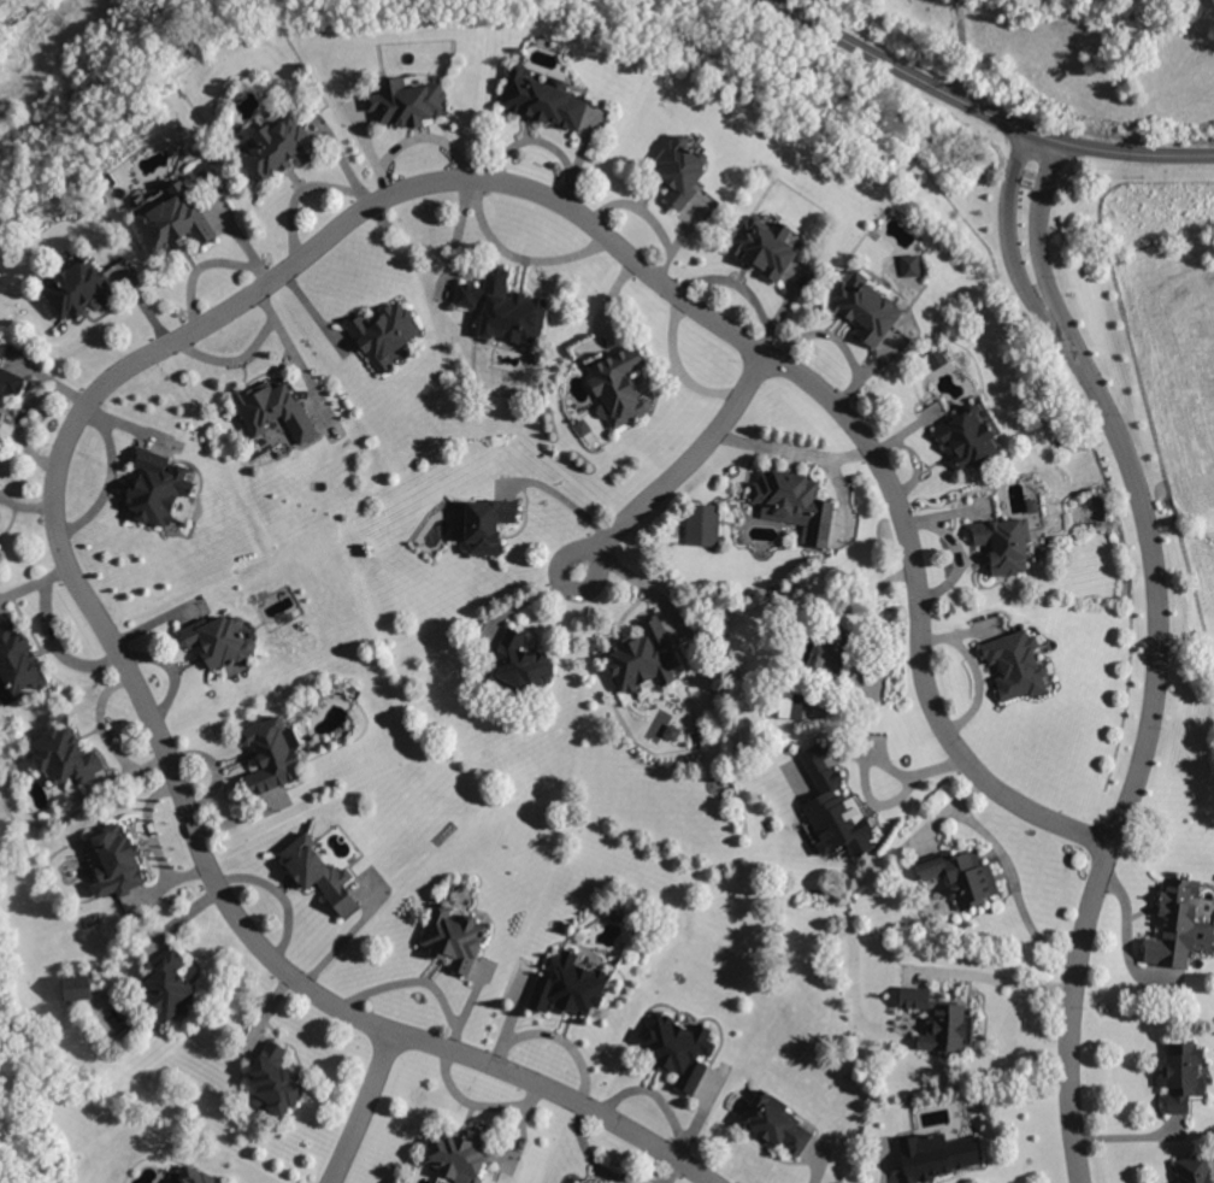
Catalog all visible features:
building: (543, 100)
building: (407, 101)
road: (983, 108)
building: (277, 147)
building: (679, 170)
building: (173, 219)
road: (1007, 241)
road: (1036, 241)
building: (764, 246)
building: (912, 263)
building: (77, 289)
building: (503, 307)
building: (866, 308)
road: (226, 316)
building: (384, 332)
building: (10, 383)
building: (618, 385)
building: (275, 410)
building: (967, 436)
road: (680, 471)
road: (104, 485)
building: (157, 487)
building: (795, 504)
building: (485, 524)
building: (702, 524)
building: (1006, 543)
road: (876, 616)
building: (219, 640)
building: (826, 654)
building: (644, 657)
building: (18, 659)
building: (521, 663)
building: (1016, 664)
building: (791, 705)
building: (672, 731)
building: (65, 755)
road: (865, 758)
road: (1141, 758)
building: (833, 810)
building: (116, 861)
road: (1006, 870)
building: (319, 872)
building: (963, 876)
building: (1177, 925)
building: (454, 937)
road: (996, 979)
building: (170, 984)
building: (568, 985)
building: (76, 987)
building: (941, 1022)
building: (680, 1050)
building: (1184, 1075)
building: (275, 1081)
road: (364, 1108)
building: (776, 1122)
building: (460, 1154)
building: (937, 1155)
building: (1192, 1170)
building: (198, 1176)
building: (571, 1181)

